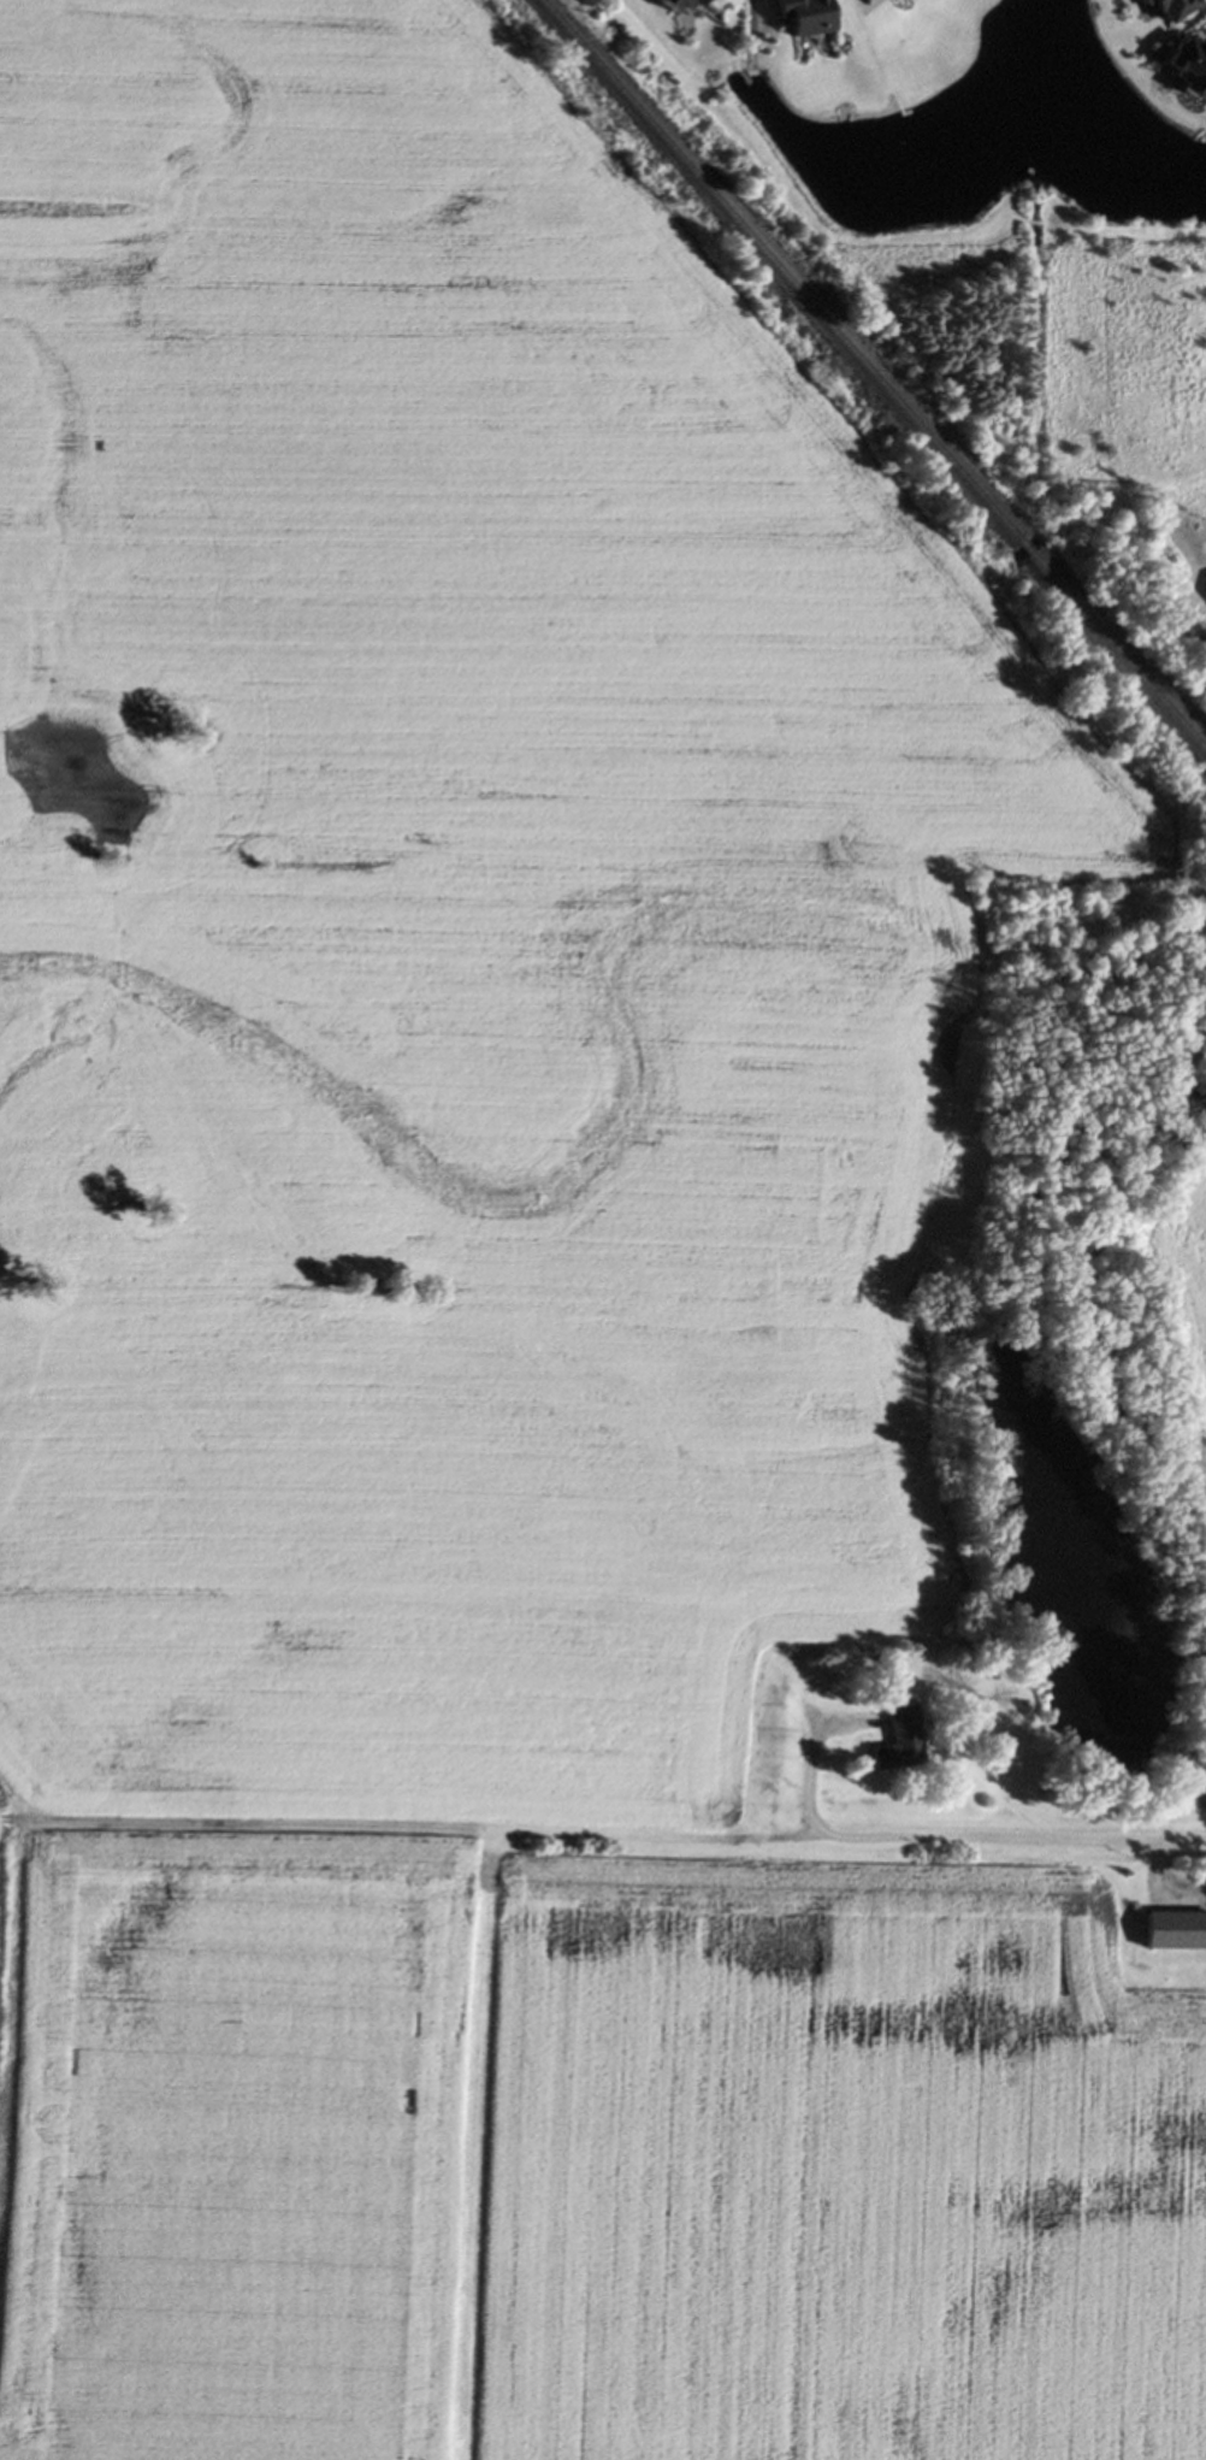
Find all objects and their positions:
building: (697, 1)
building: (1143, 1)
building: (674, 4)
building: (1172, 6)
building: (804, 14)
building: (1190, 64)
railway: (780, 272)
railway: (1028, 551)
railway: (1119, 655)
road: (406, 1823)
road: (987, 1851)

